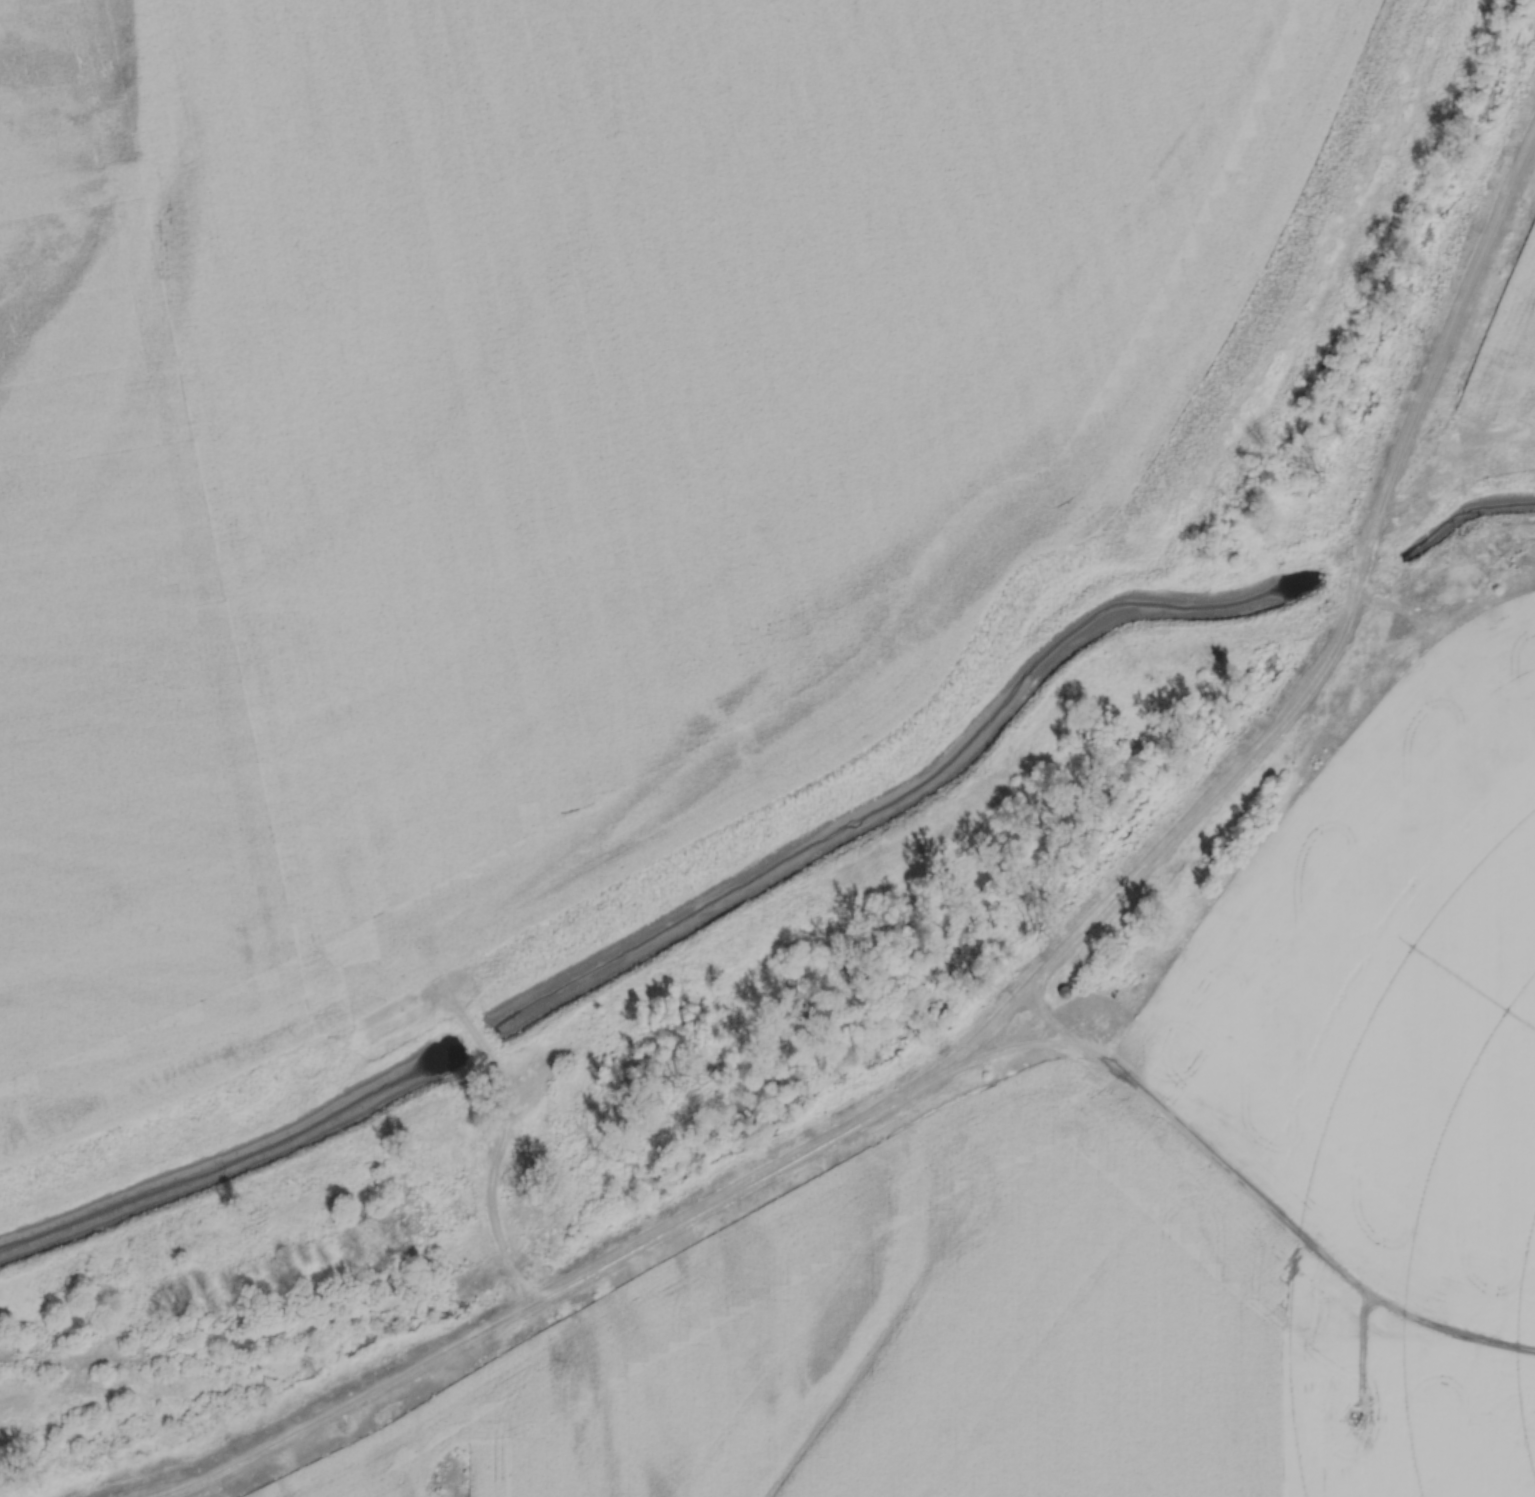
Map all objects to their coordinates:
road: (1439, 363)
road: (1439, 611)

